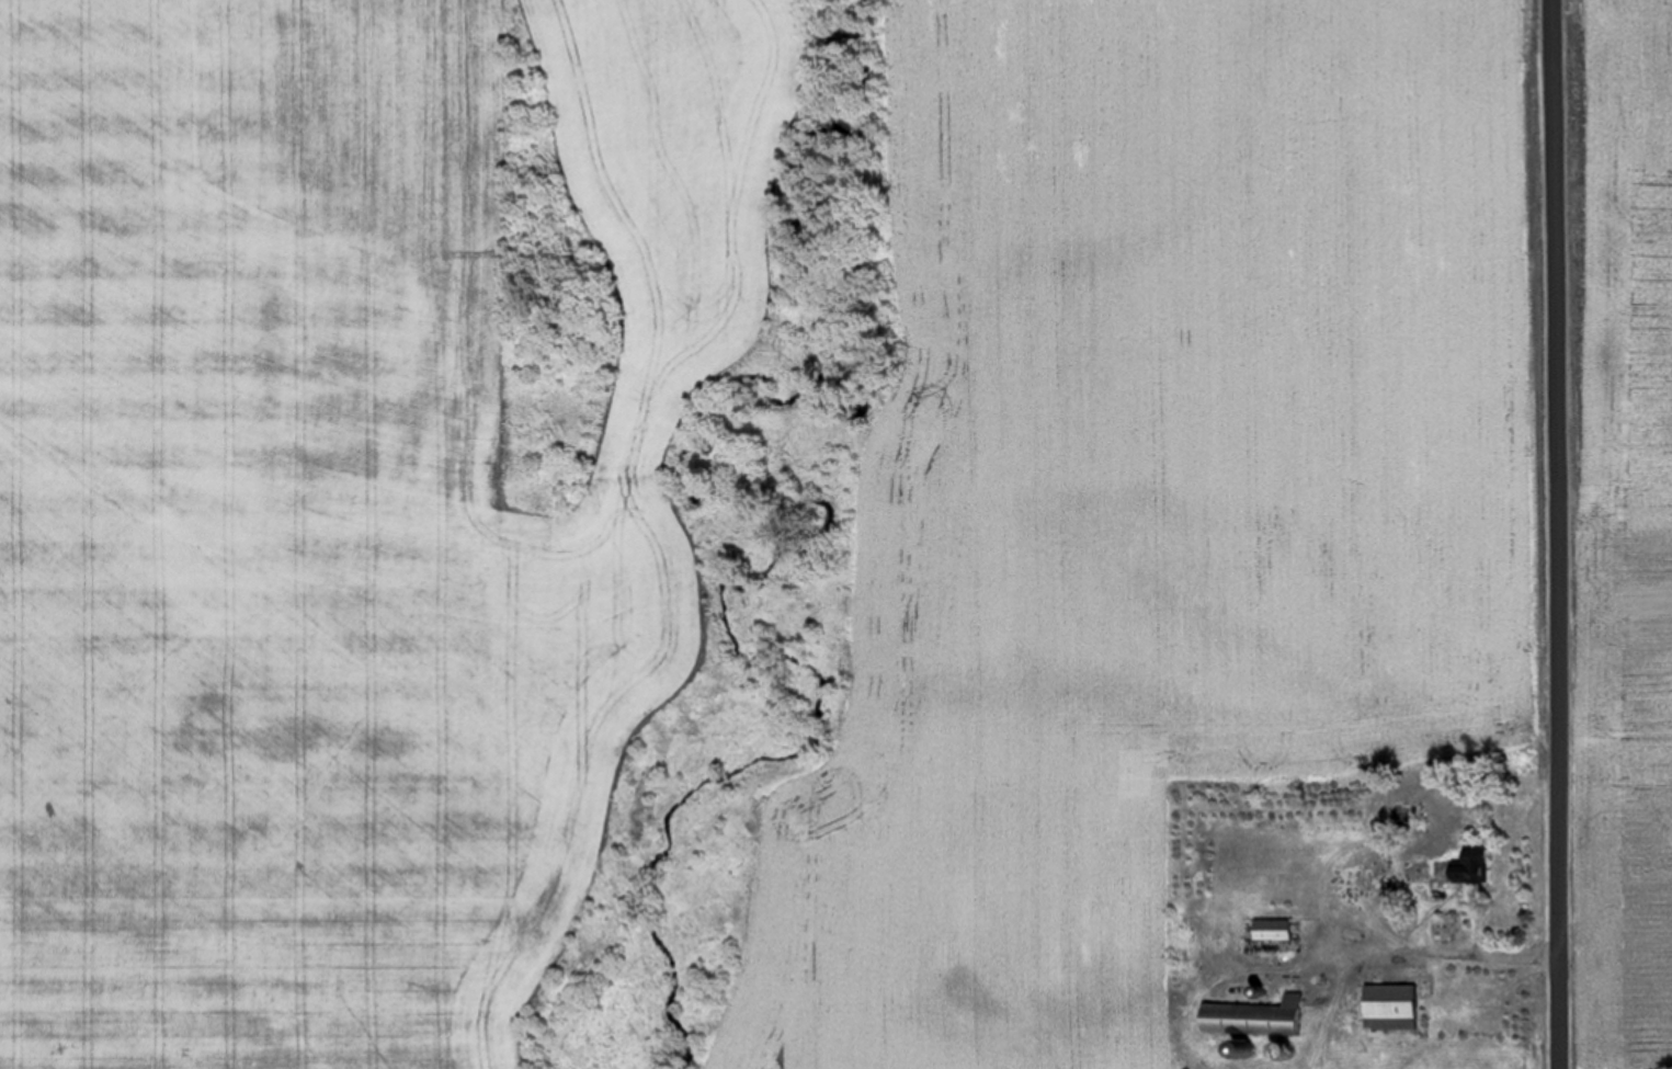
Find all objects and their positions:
road: (1554, 534)
building: (1464, 868)
building: (1282, 930)
building: (1400, 1007)
building: (1266, 1016)

